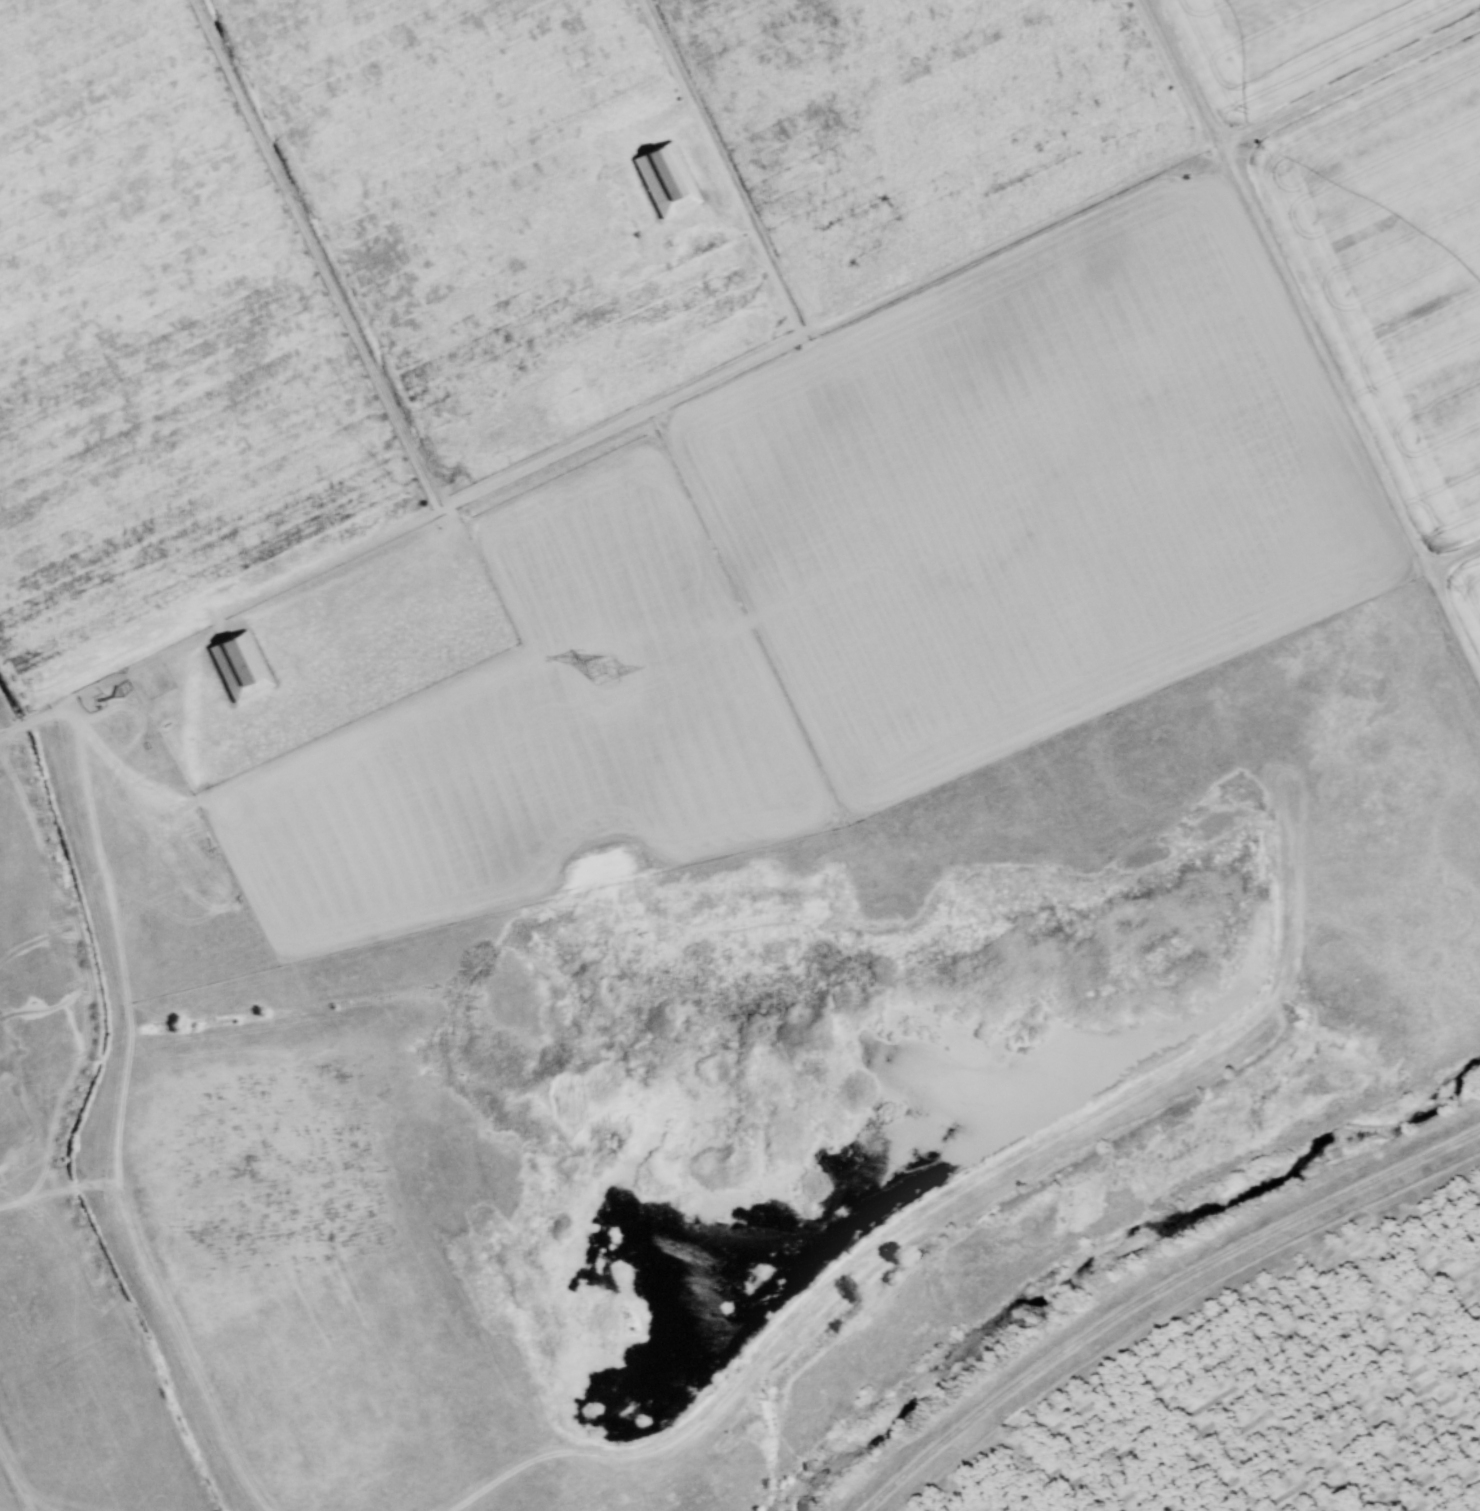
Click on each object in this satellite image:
building: (238, 667)
power tower: (603, 672)
road: (25, 722)
road: (23, 1483)

